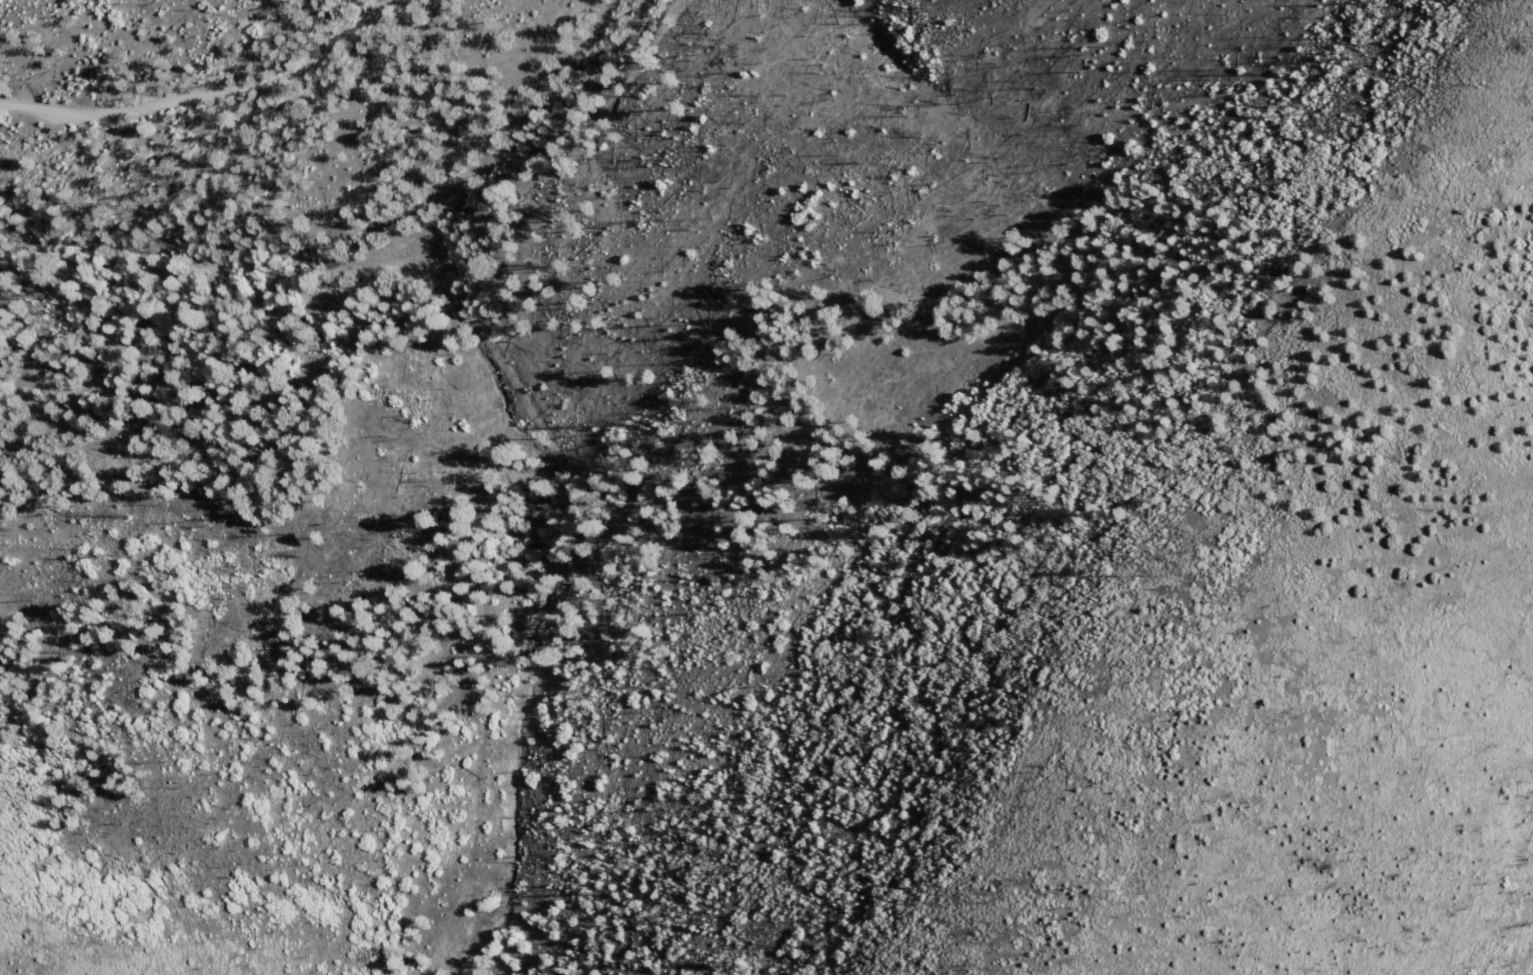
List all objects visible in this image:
road: (206, 93)

